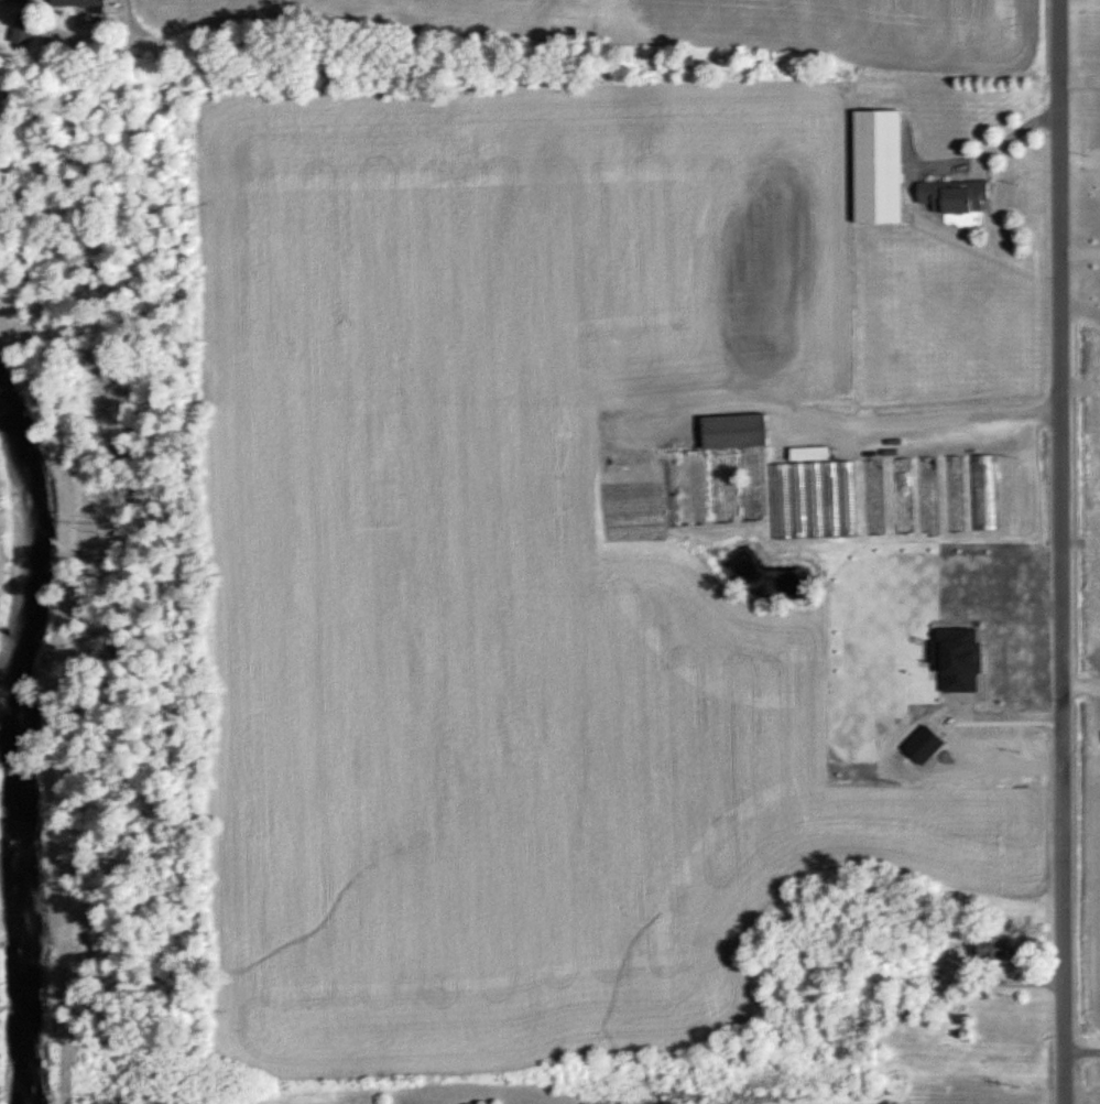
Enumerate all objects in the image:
building: (11, 1)
building: (76, 3)
building: (874, 166)
building: (954, 196)
building: (776, 484)
building: (987, 493)
building: (957, 495)
building: (930, 496)
building: (905, 497)
building: (876, 498)
road: (1049, 552)
building: (989, 948)
road: (1078, 1047)

